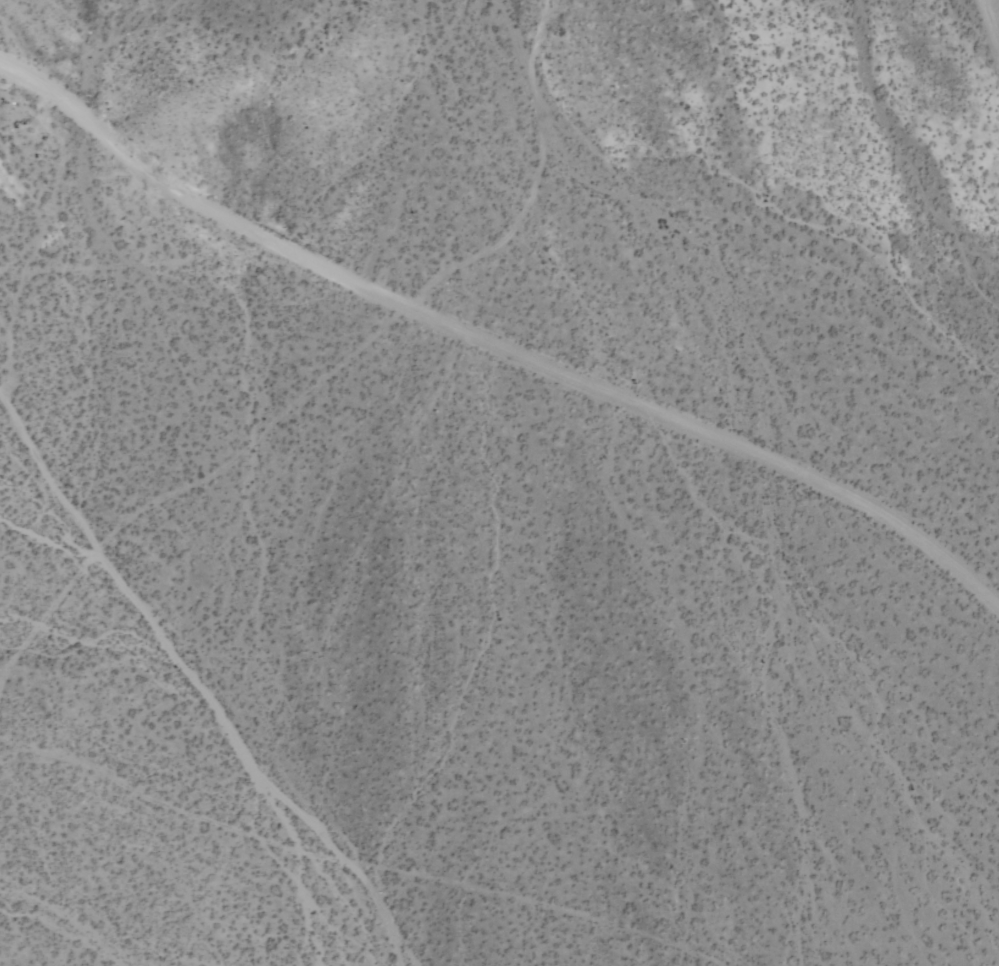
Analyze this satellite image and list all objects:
road: (994, 14)

